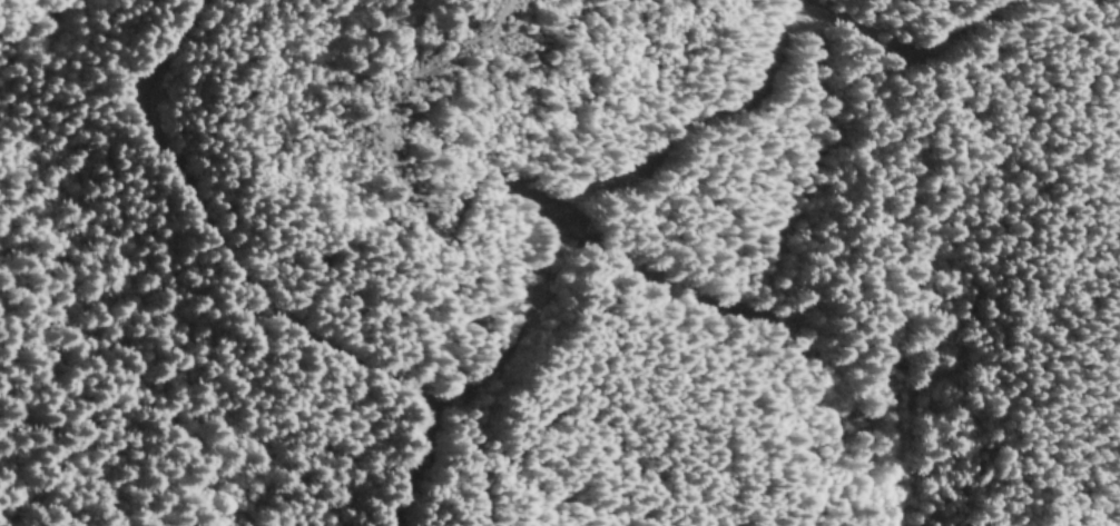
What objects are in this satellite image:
road: (979, 443)

